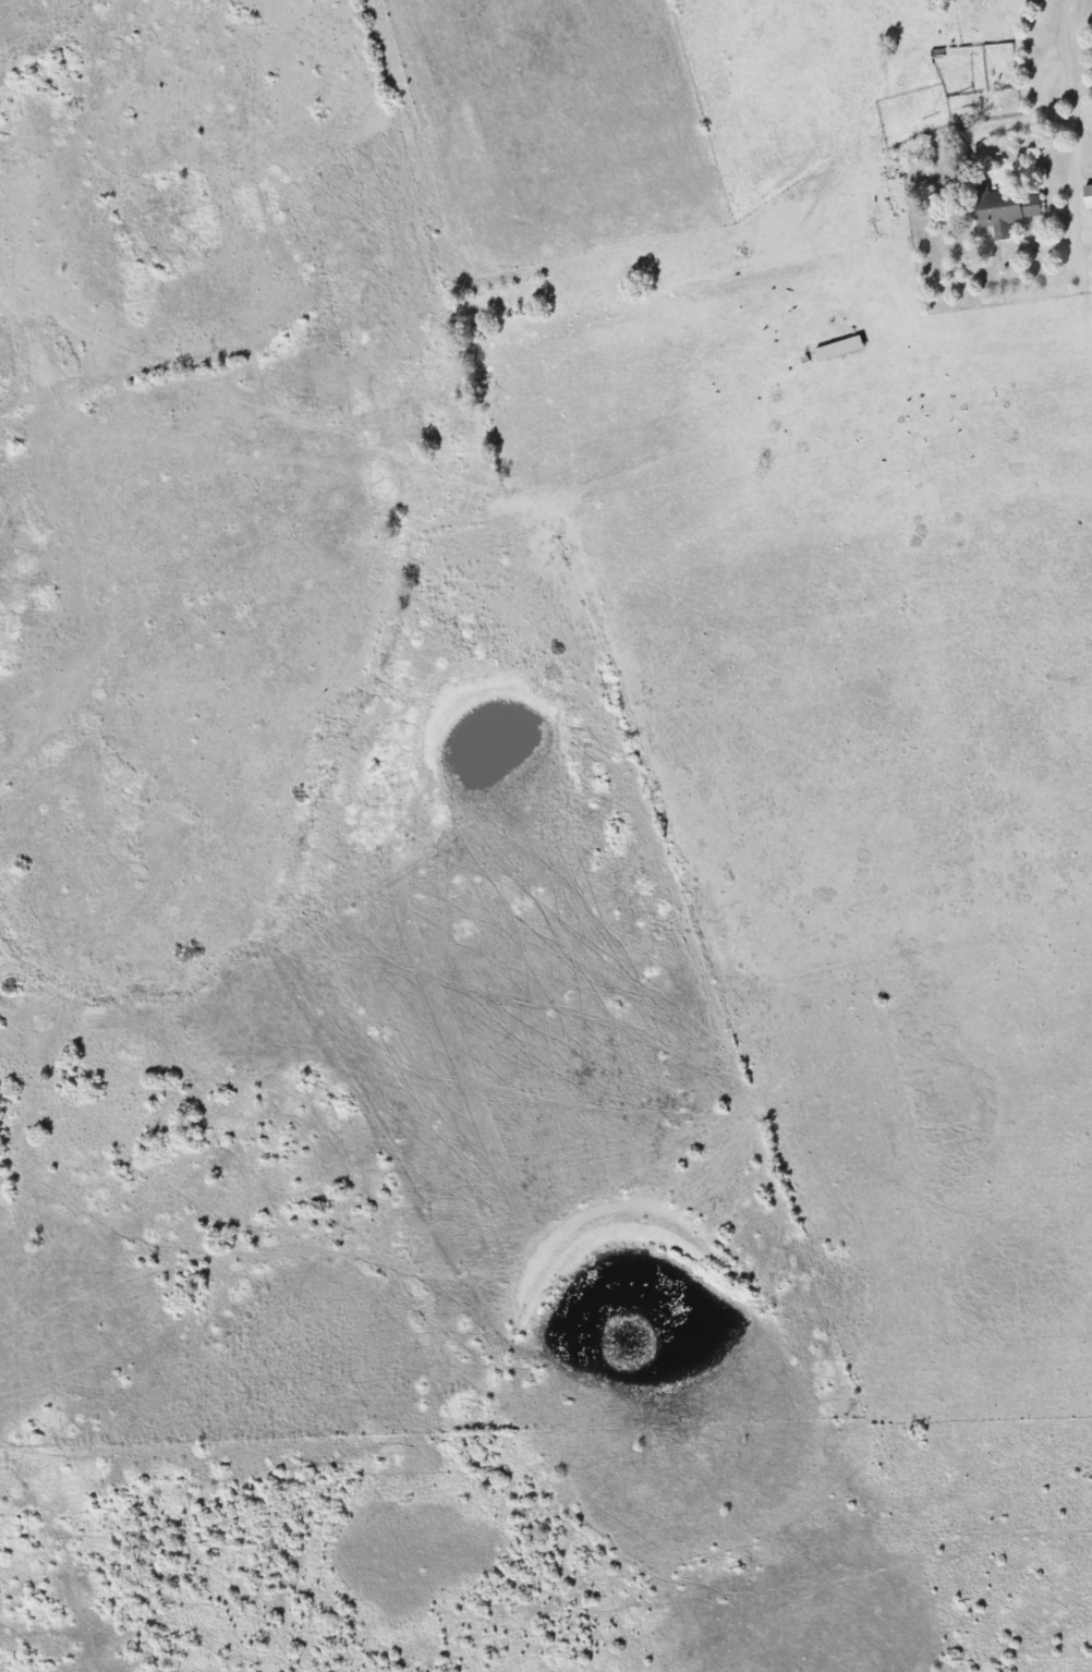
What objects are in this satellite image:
road: (1069, 107)
building: (1091, 193)
building: (1009, 211)
building: (844, 349)

